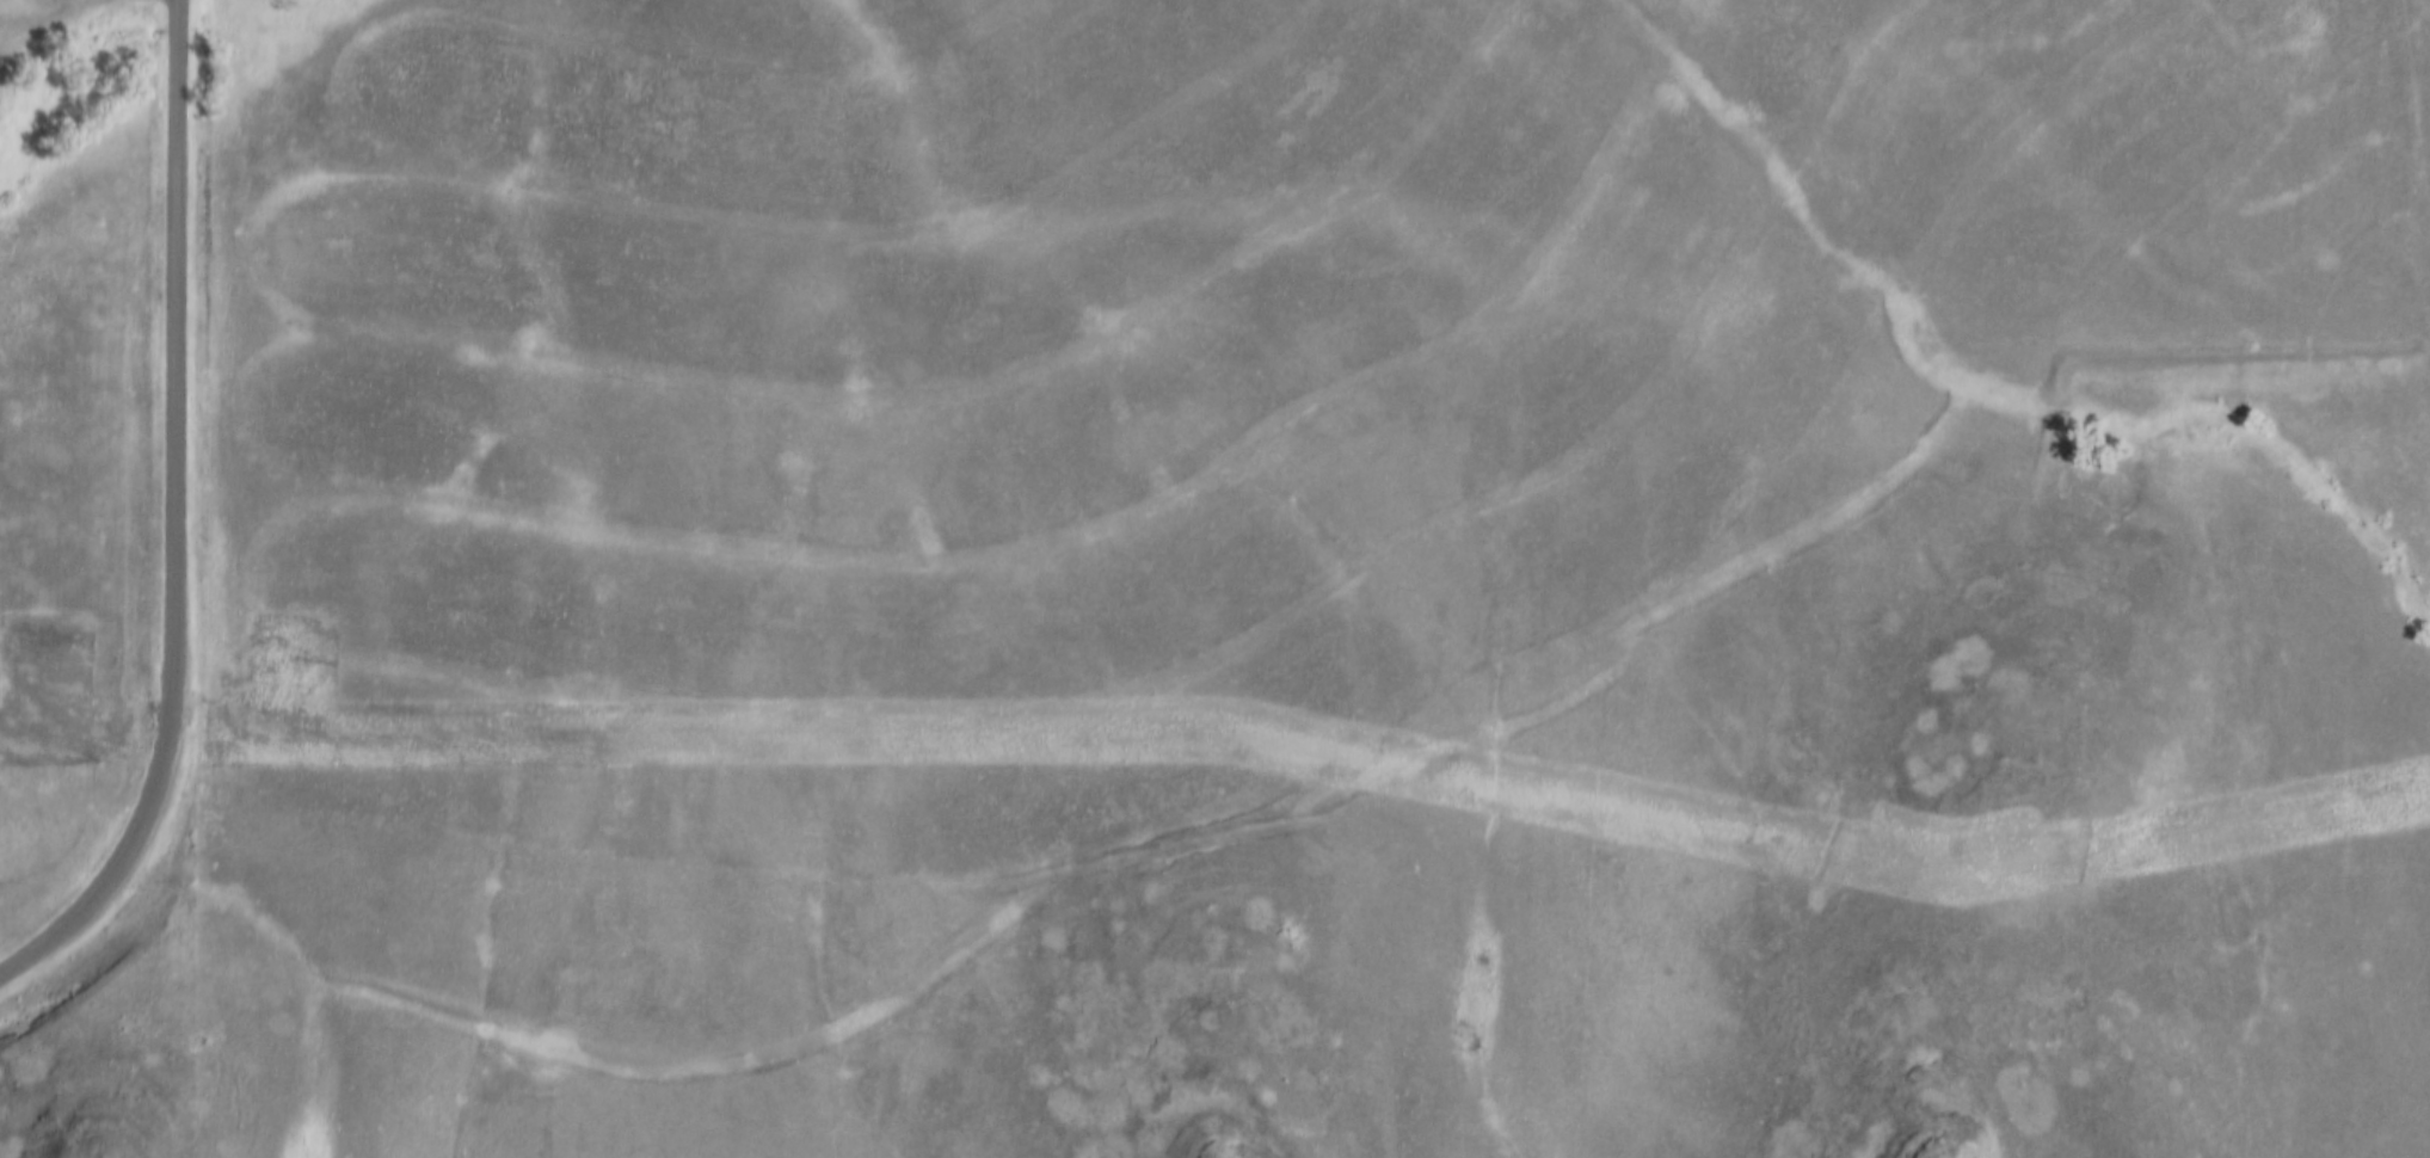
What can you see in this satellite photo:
road: (68, 27)
road: (179, 518)

